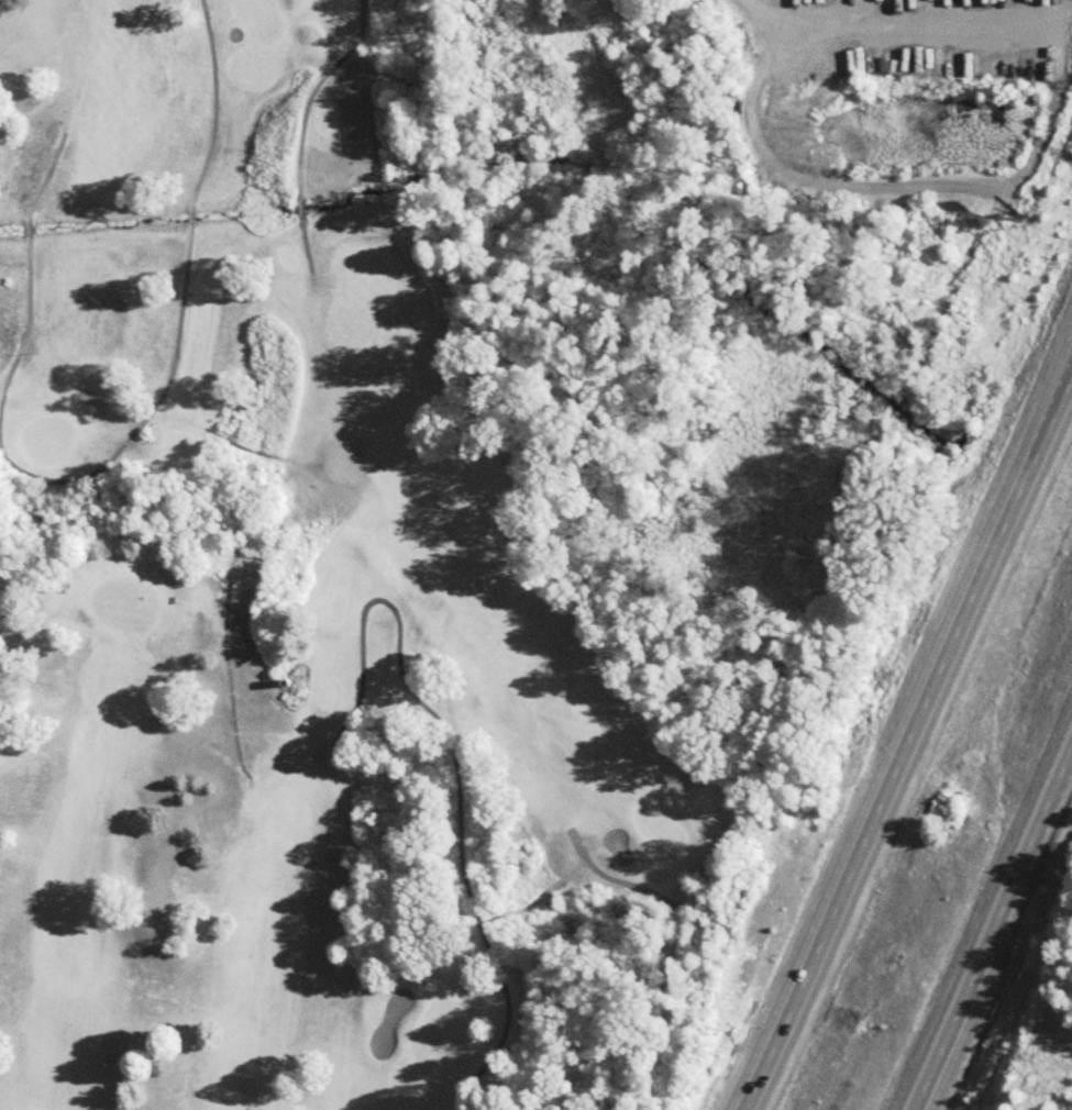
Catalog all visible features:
road: (910, 24)
park: (330, 606)
road: (908, 744)
road: (991, 932)

